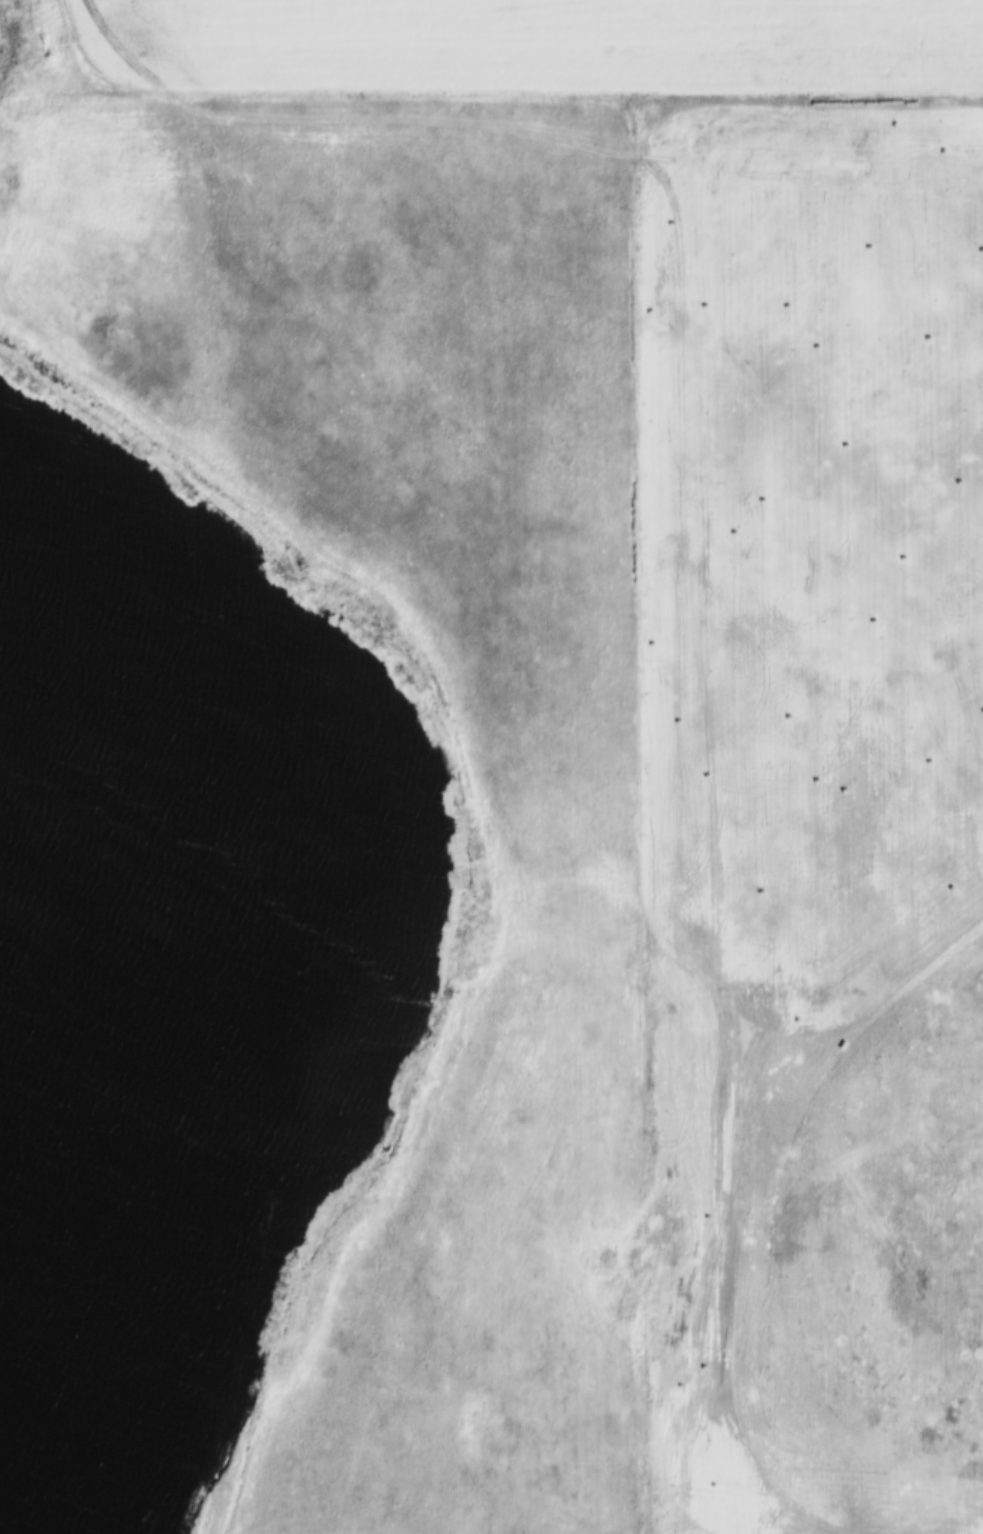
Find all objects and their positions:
road: (295, 877)

